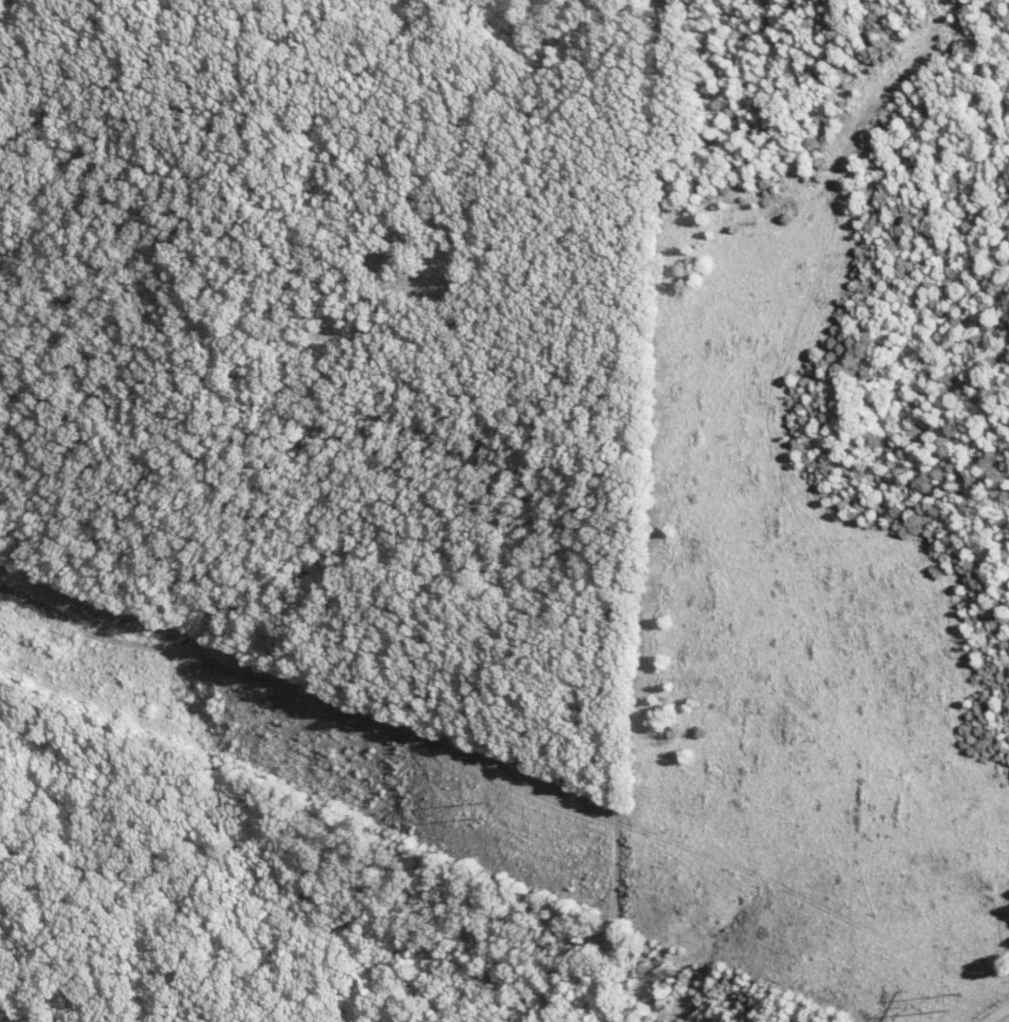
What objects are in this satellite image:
power tower: (486, 813)
power tower: (957, 1005)
road: (1002, 1017)

